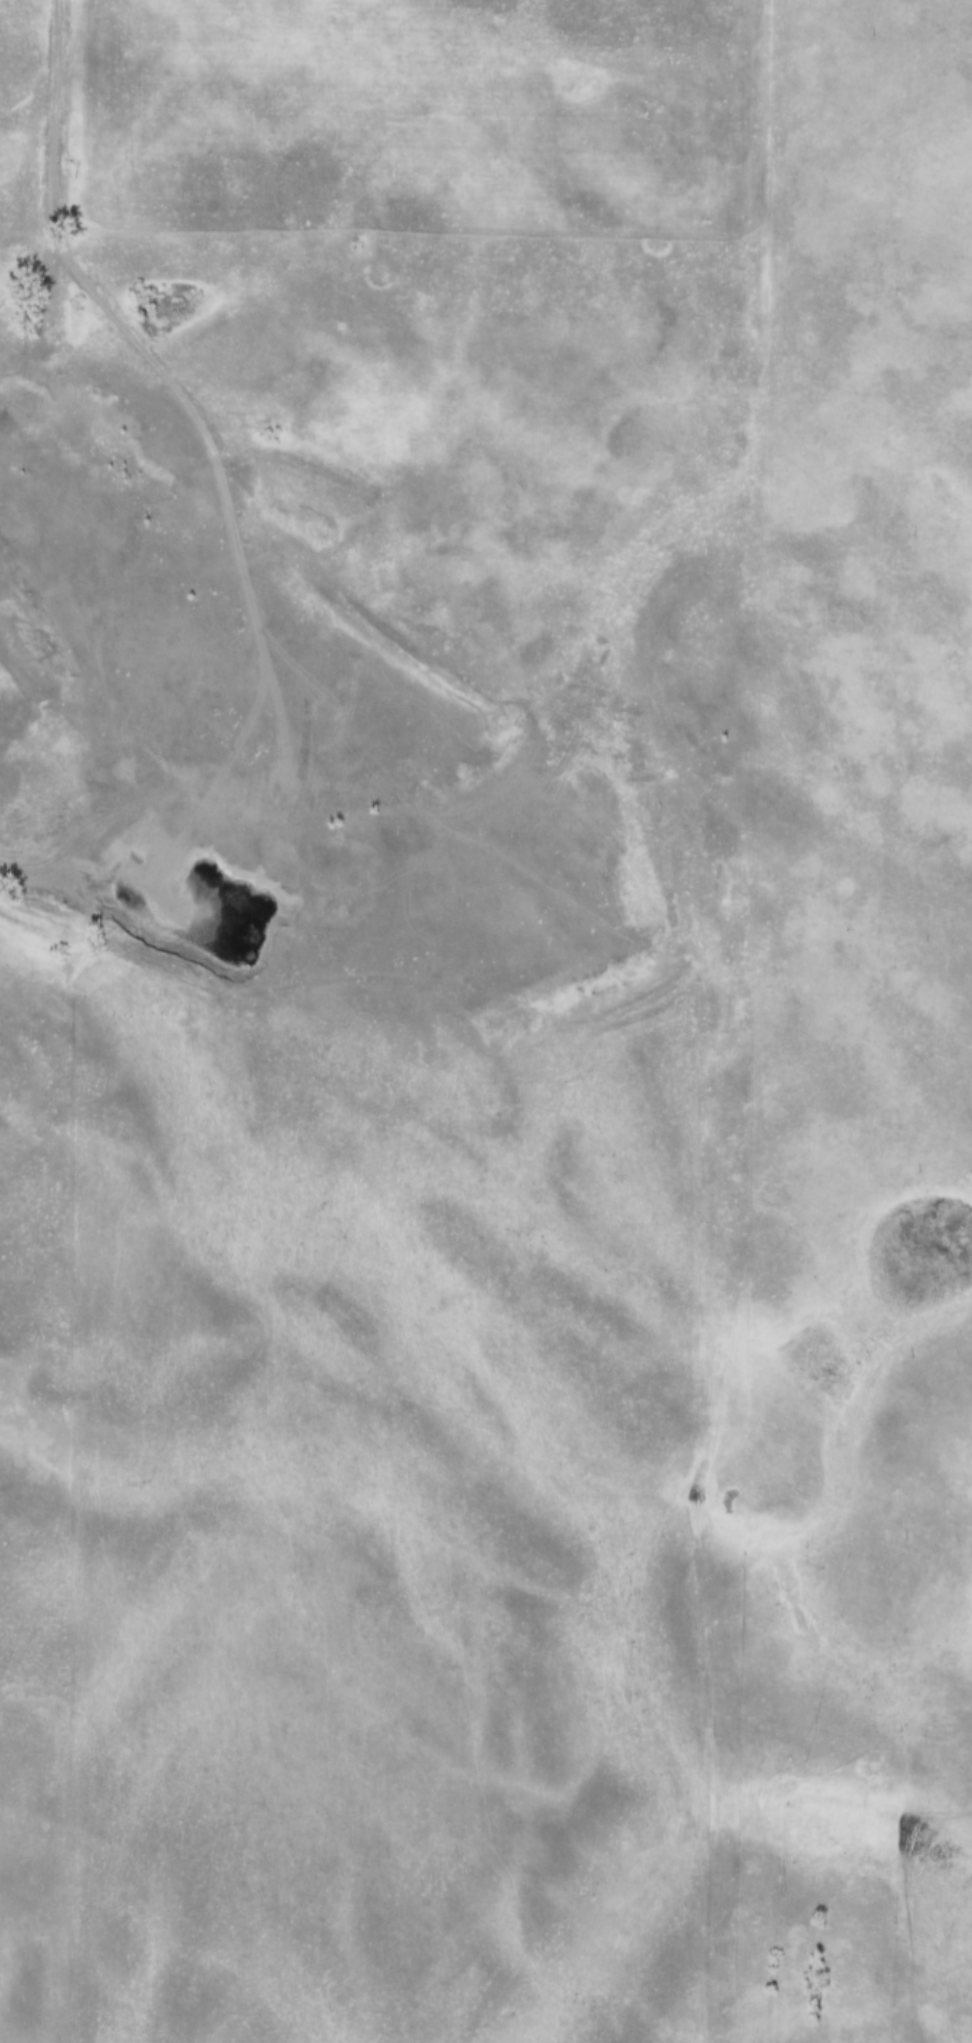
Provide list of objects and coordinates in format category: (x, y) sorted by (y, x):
road: (107, 319)
quarry: (214, 679)
road: (177, 802)

